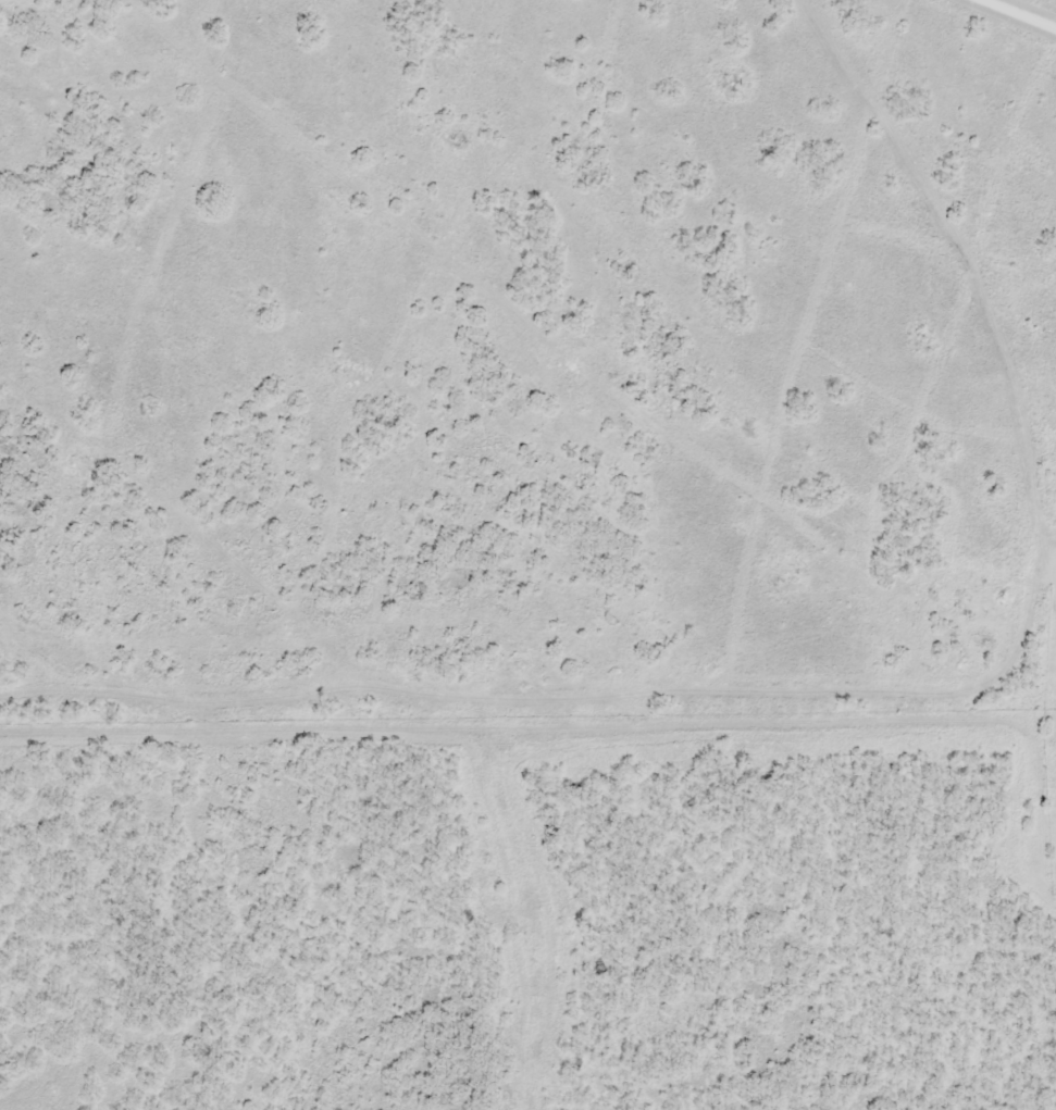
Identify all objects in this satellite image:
road: (1016, 15)
road: (537, 885)

